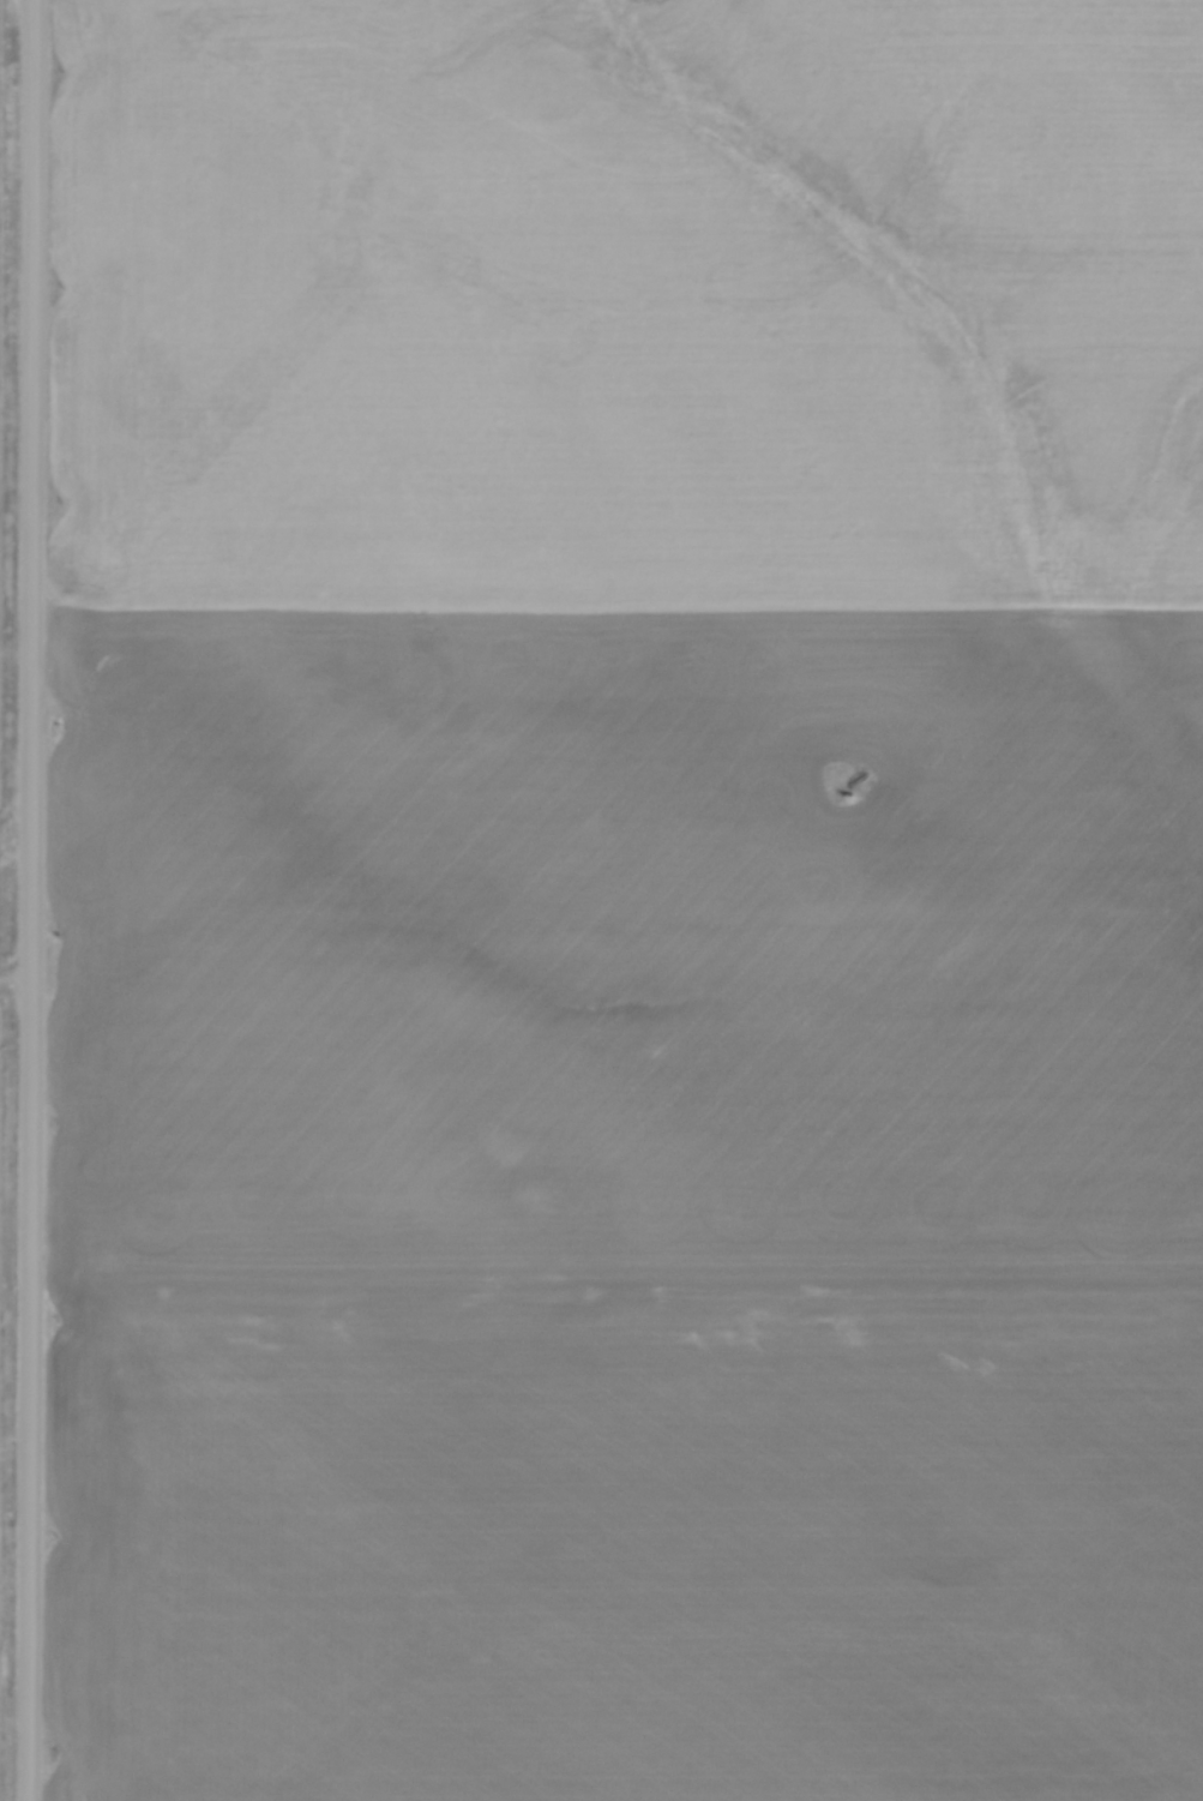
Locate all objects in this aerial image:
road: (35, 900)
crop: (631, 900)

